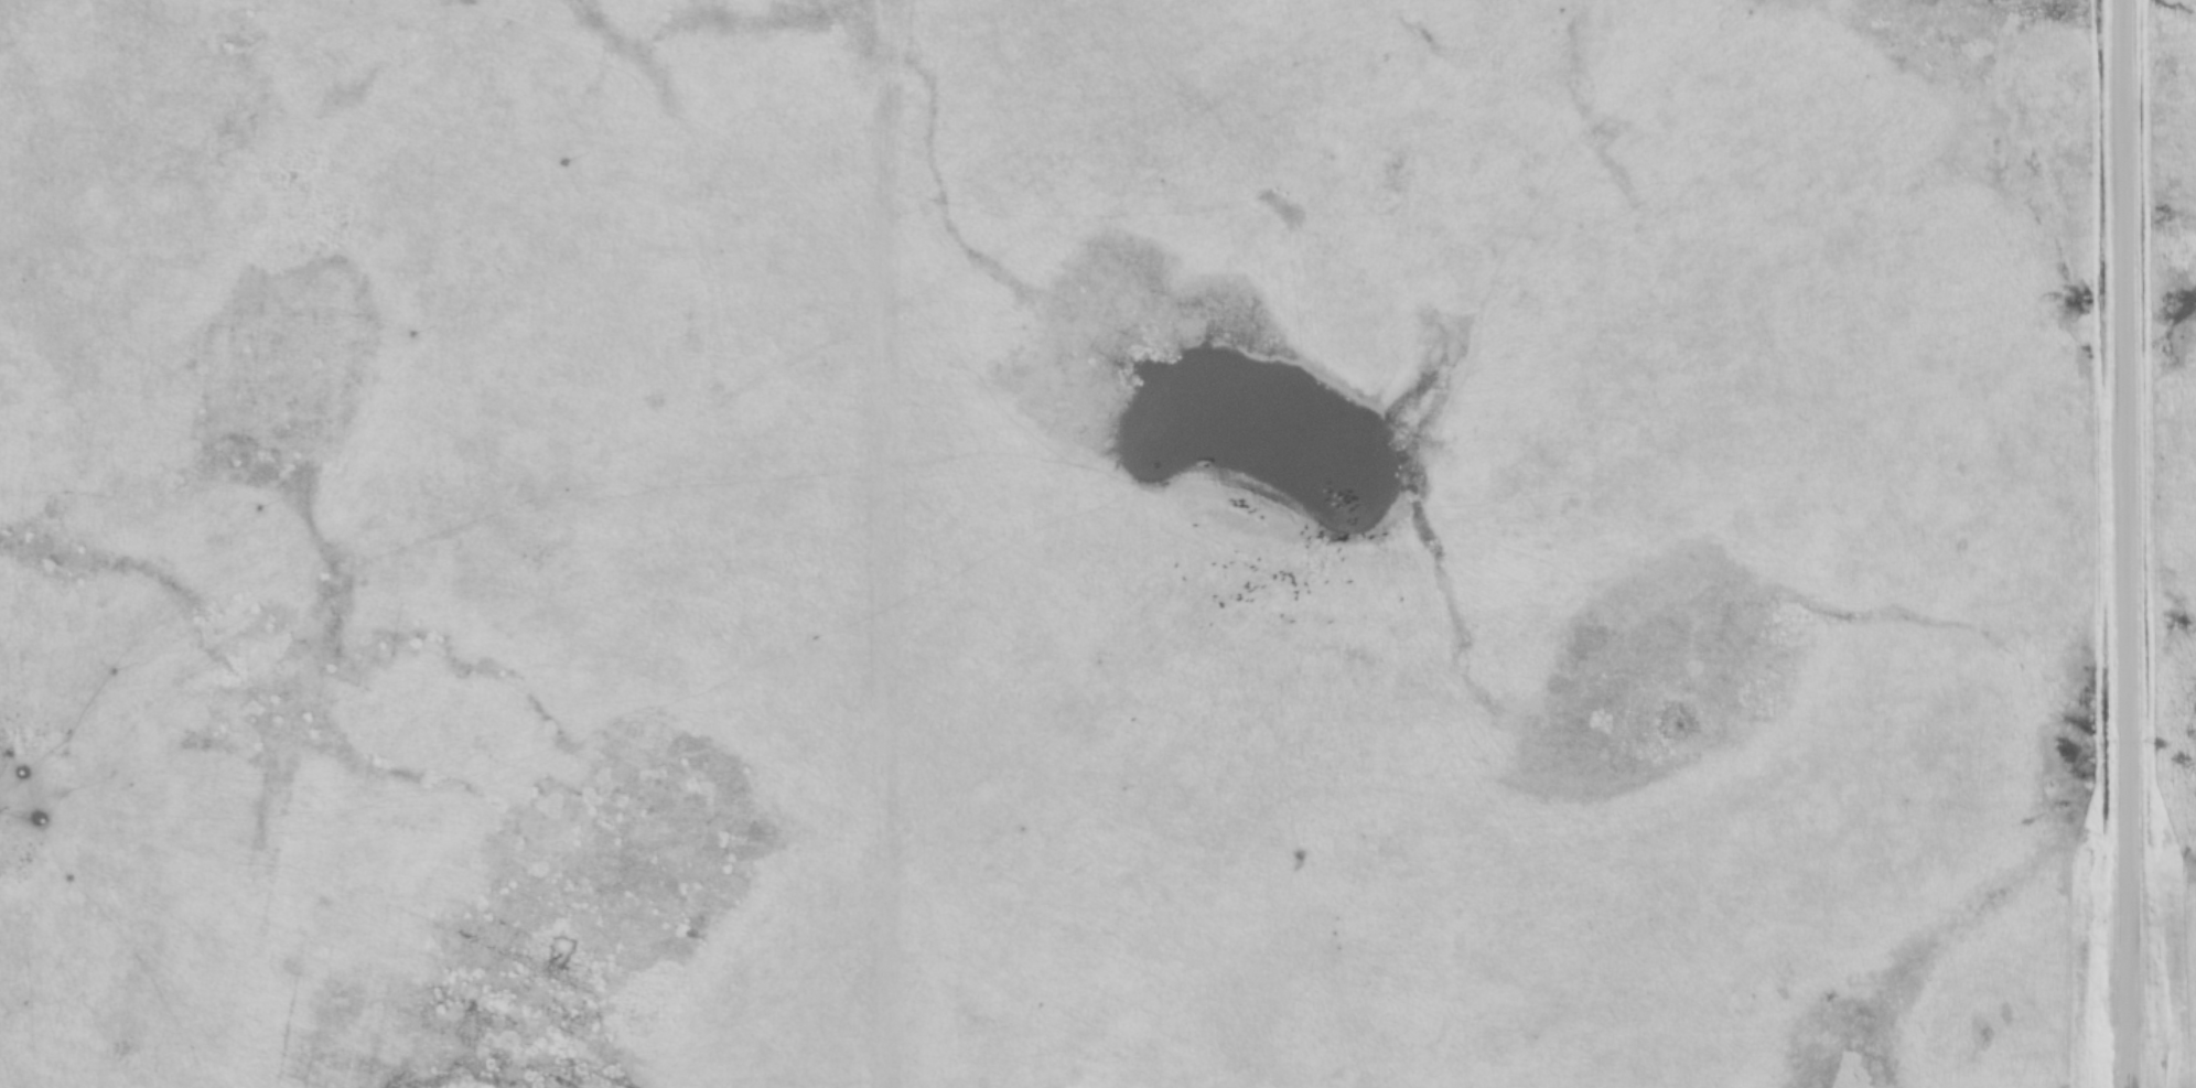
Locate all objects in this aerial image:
road: (2128, 543)

